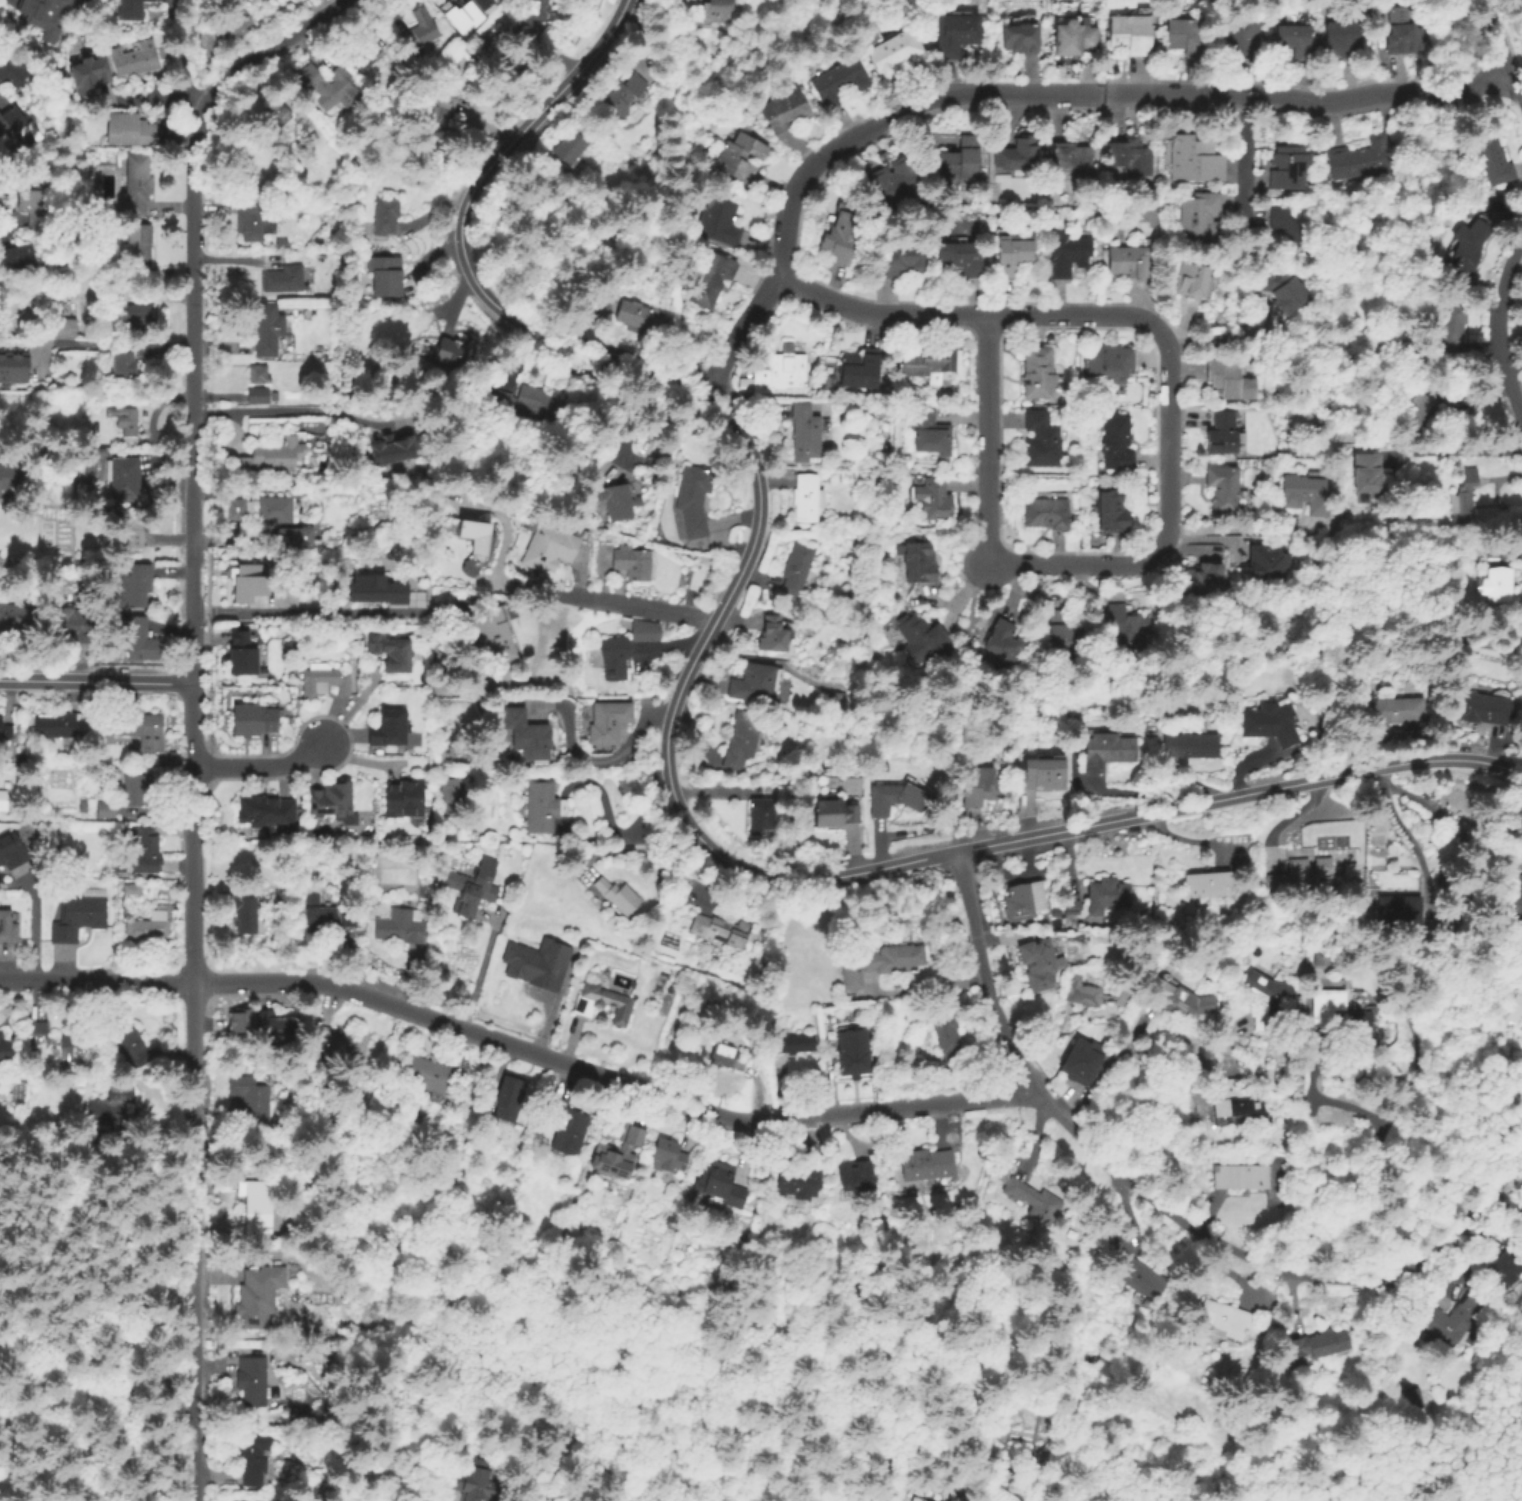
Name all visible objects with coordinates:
building: (487, 4)
building: (136, 10)
building: (716, 10)
building: (52, 14)
building: (467, 15)
building: (531, 19)
building: (231, 25)
building: (1127, 32)
building: (1402, 32)
building: (425, 34)
building: (1181, 34)
building: (1238, 34)
building: (952, 35)
building: (871, 36)
building: (1068, 37)
building: (1343, 37)
building: (1014, 38)
building: (1291, 38)
road: (1502, 49)
building: (893, 52)
building: (368, 55)
building: (142, 58)
road: (182, 64)
building: (14, 71)
building: (93, 71)
building: (835, 81)
building: (326, 88)
road: (1031, 92)
building: (622, 96)
building: (783, 111)
building: (281, 112)
building: (438, 121)
building: (134, 130)
building: (18, 131)
building: (568, 148)
road: (1244, 150)
building: (1014, 154)
building: (883, 155)
building: (738, 156)
building: (1067, 156)
building: (1128, 156)
building: (1361, 158)
building: (957, 159)
building: (1193, 159)
building: (1495, 161)
building: (1286, 167)
building: (141, 182)
building: (894, 182)
building: (4, 209)
building: (38, 209)
building: (1200, 217)
building: (382, 219)
building: (256, 220)
road: (10, 222)
building: (716, 222)
building: (1284, 225)
building: (1001, 231)
building: (839, 237)
building: (1467, 249)
building: (142, 250)
building: (1067, 254)
building: (1009, 255)
building: (958, 259)
building: (19, 260)
building: (1128, 260)
building: (897, 262)
road: (192, 268)
building: (386, 275)
building: (1191, 278)
building: (285, 279)
building: (708, 281)
building: (1281, 290)
building: (137, 313)
road: (880, 314)
building: (634, 316)
building: (62, 326)
building: (1452, 327)
road: (1501, 328)
building: (270, 331)
road: (1227, 336)
road: (113, 343)
building: (455, 353)
building: (1109, 363)
road: (1514, 365)
building: (860, 367)
building: (928, 367)
building: (782, 368)
building: (15, 369)
building: (128, 369)
building: (1038, 371)
building: (259, 373)
building: (1229, 378)
building: (1446, 393)
building: (261, 395)
building: (526, 402)
road: (286, 411)
building: (1412, 412)
building: (128, 423)
building: (928, 430)
building: (1222, 432)
building: (805, 433)
road: (989, 440)
building: (1041, 440)
road: (1172, 440)
building: (1115, 442)
building: (393, 447)
road: (1457, 451)
building: (273, 457)
building: (1367, 473)
building: (879, 474)
building: (12, 478)
building: (129, 479)
building: (1224, 488)
building: (1306, 494)
building: (806, 497)
building: (694, 498)
building: (933, 498)
building: (1464, 500)
building: (617, 503)
building: (267, 509)
building: (1111, 509)
building: (1046, 512)
building: (133, 532)
building: (293, 535)
building: (484, 538)
building: (526, 539)
building: (550, 549)
building: (1265, 563)
building: (630, 564)
building: (919, 565)
building: (796, 567)
building: (1204, 576)
building: (249, 581)
building: (138, 585)
building: (1497, 585)
building: (377, 590)
road: (633, 607)
road: (310, 612)
building: (17, 621)
building: (76, 625)
building: (644, 629)
building: (1122, 631)
building: (1064, 633)
building: (771, 635)
building: (492, 636)
building: (920, 637)
building: (143, 641)
building: (1004, 642)
building: (396, 655)
building: (246, 657)
building: (614, 658)
building: (327, 681)
road: (95, 683)
building: (752, 684)
road: (191, 690)
road: (956, 690)
building: (839, 703)
building: (1484, 710)
building: (1393, 711)
building: (609, 721)
building: (257, 722)
road: (666, 723)
building: (63, 725)
building: (1269, 725)
building: (142, 727)
building: (6, 730)
building: (394, 730)
building: (1188, 730)
building: (527, 735)
building: (741, 741)
building: (1189, 748)
building: (1106, 750)
road: (607, 759)
road: (261, 765)
road: (1377, 775)
building: (1039, 776)
building: (137, 789)
building: (978, 789)
building: (451, 796)
building: (2, 799)
building: (409, 799)
building: (895, 800)
road: (1420, 800)
building: (335, 801)
building: (540, 807)
building: (106, 809)
building: (268, 813)
building: (832, 815)
building: (761, 817)
road: (1283, 820)
road: (1404, 833)
building: (130, 835)
building: (149, 843)
road: (953, 844)
building: (11, 849)
building: (1242, 864)
building: (1305, 875)
road: (192, 876)
building: (1207, 887)
building: (475, 888)
building: (122, 891)
building: (1515, 894)
building: (1108, 895)
building: (618, 897)
building: (1023, 902)
building: (1071, 906)
building: (1398, 911)
building: (318, 912)
building: (80, 914)
building: (247, 916)
building: (349, 919)
road: (32, 925)
building: (147, 926)
building: (402, 926)
building: (8, 927)
building: (720, 931)
building: (1316, 956)
building: (891, 959)
building: (1516, 961)
building: (1039, 963)
building: (538, 964)
road: (475, 974)
building: (850, 974)
road: (982, 975)
road: (96, 983)
building: (1089, 994)
building: (1181, 1001)
building: (1268, 1001)
building: (603, 1004)
building: (1322, 1005)
building: (1517, 1009)
building: (238, 1019)
building: (277, 1026)
building: (1351, 1029)
building: (39, 1034)
building: (0, 1040)
building: (947, 1042)
building: (339, 1043)
building: (793, 1045)
building: (76, 1046)
building: (135, 1049)
building: (7, 1052)
building: (853, 1053)
building: (1074, 1058)
building: (725, 1061)
road: (1102, 1072)
building: (431, 1076)
road: (194, 1080)
road: (608, 1080)
building: (253, 1099)
building: (512, 1100)
building: (1239, 1101)
building: (114, 1108)
building: (567, 1130)
building: (618, 1155)
road: (1374, 1156)
building: (665, 1158)
building: (927, 1167)
road: (1514, 1174)
building: (855, 1177)
building: (1243, 1177)
building: (799, 1181)
building: (717, 1185)
road: (74, 1194)
building: (1035, 1200)
building: (258, 1207)
road: (193, 1211)
road: (1257, 1260)
building: (1506, 1265)
building: (1141, 1276)
road: (6, 1278)
building: (261, 1296)
building: (1139, 1299)
road: (5, 1305)
road: (193, 1320)
building: (1226, 1320)
building: (1451, 1323)
road: (120, 1342)
building: (1318, 1345)
building: (327, 1358)
building: (254, 1380)
building: (1413, 1399)
road: (169, 1432)
road: (192, 1447)
building: (255, 1459)
building: (484, 1488)
building: (918, 1499)

